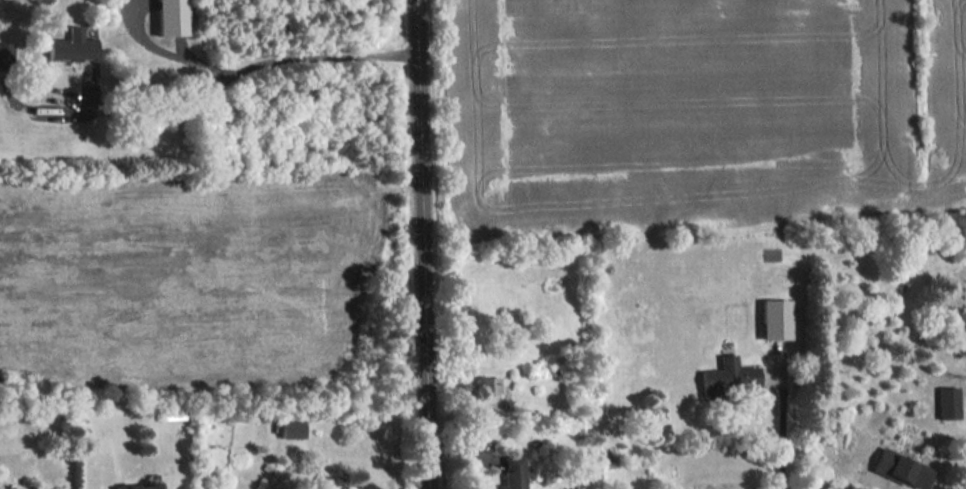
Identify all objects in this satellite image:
building: (171, 17)
building: (72, 45)
building: (6, 49)
road: (240, 72)
road: (423, 244)
building: (775, 318)
building: (729, 377)
building: (489, 384)
building: (949, 402)
building: (171, 413)
road: (780, 421)
building: (292, 428)
building: (902, 468)
building: (513, 472)
building: (139, 485)
road: (880, 486)

